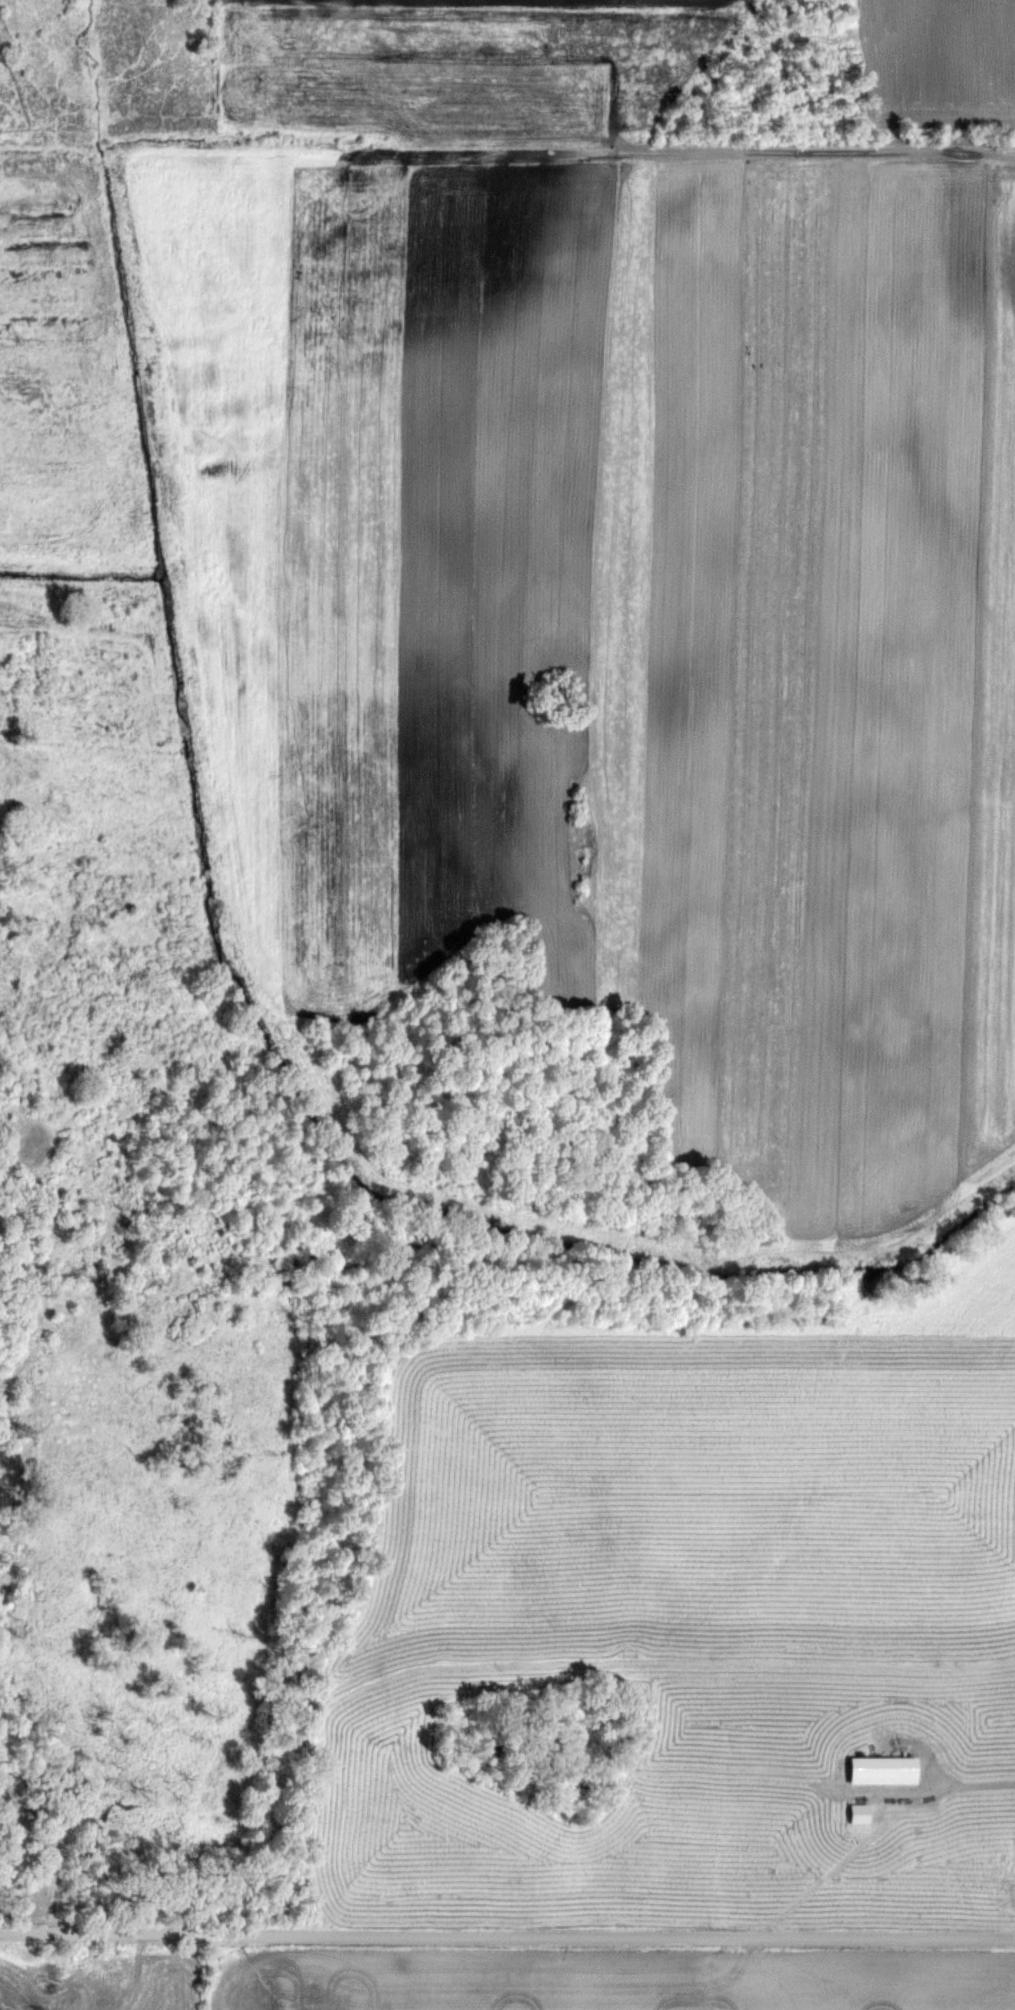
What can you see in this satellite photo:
road: (507, 1938)

